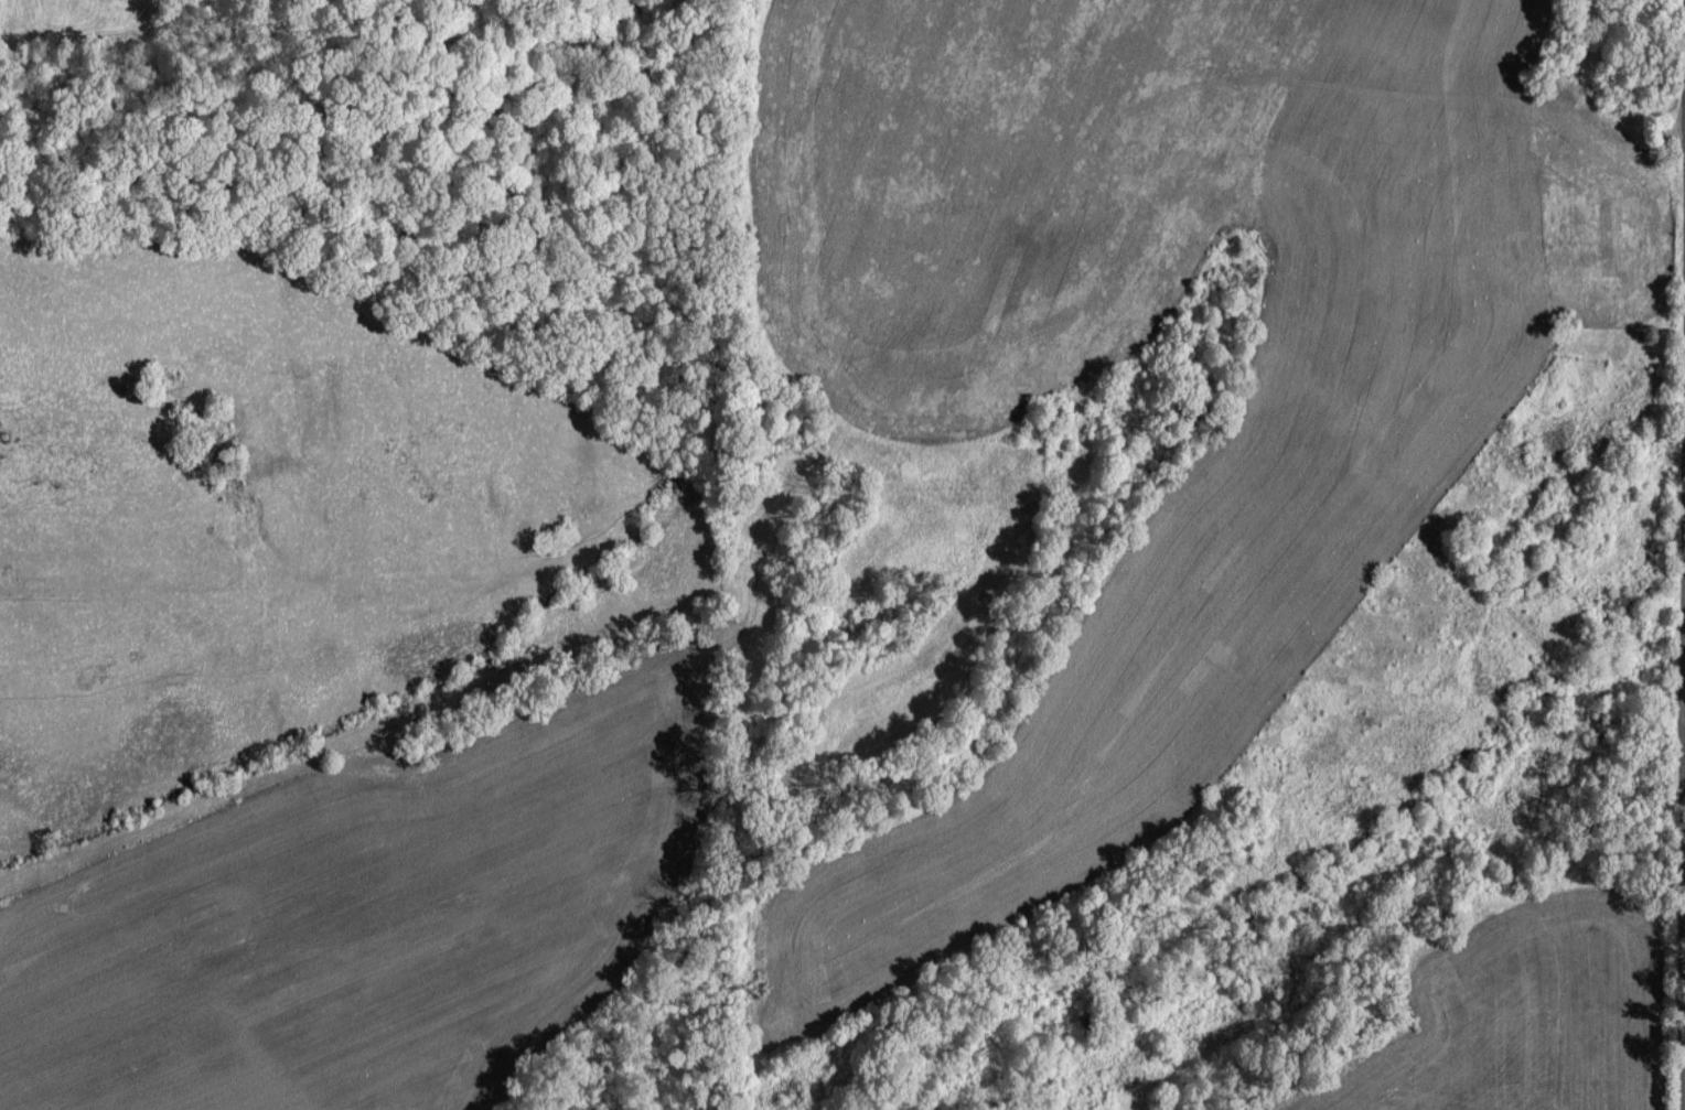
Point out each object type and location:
road: (1675, 554)

